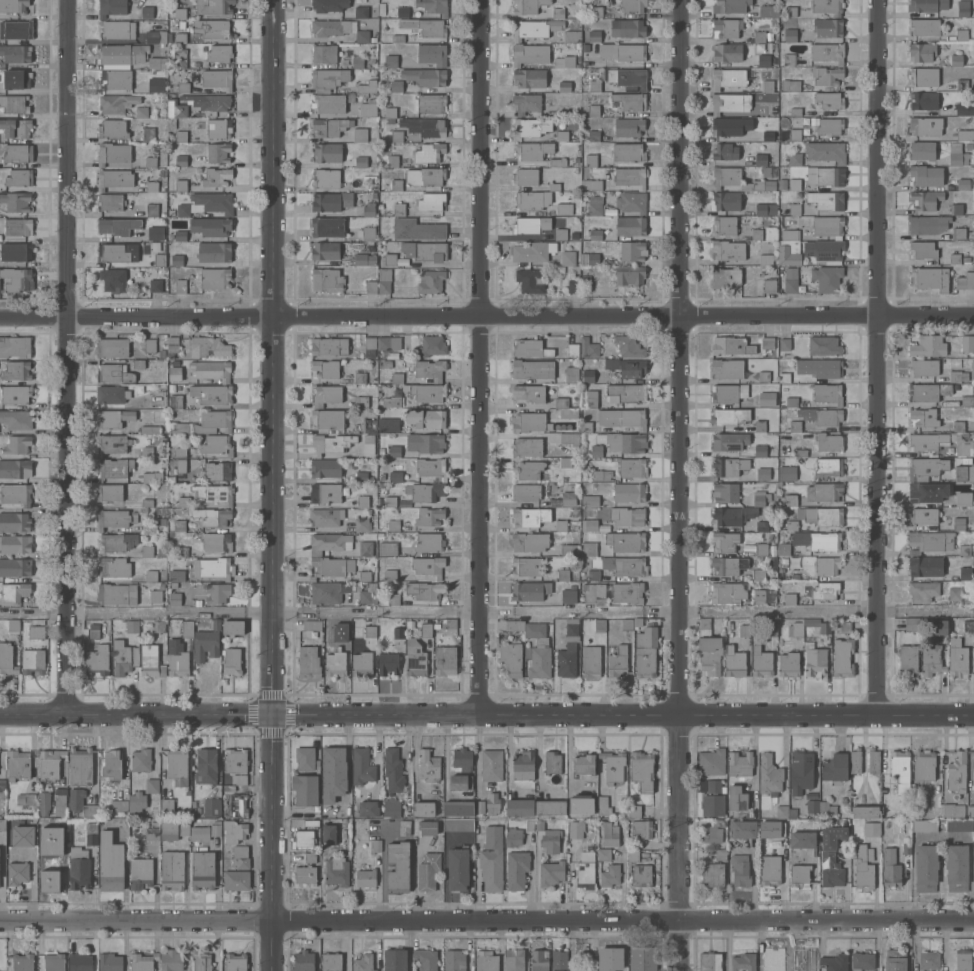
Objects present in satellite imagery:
building: (329, 5)
building: (632, 5)
building: (730, 5)
building: (927, 5)
building: (13, 6)
building: (212, 6)
building: (433, 6)
building: (528, 6)
building: (827, 6)
building: (111, 7)
building: (963, 7)
building: (381, 8)
building: (179, 10)
building: (790, 10)
building: (360, 11)
building: (595, 11)
building: (768, 11)
building: (146, 12)
building: (402, 12)
building: (557, 13)
building: (424, 26)
building: (329, 27)
building: (725, 27)
building: (828, 27)
building: (924, 27)
building: (211, 28)
building: (627, 28)
building: (116, 29)
building: (536, 29)
building: (16, 30)
building: (361, 35)
building: (790, 35)
building: (961, 35)
building: (571, 36)
building: (594, 36)
building: (759, 36)
building: (155, 37)
building: (397, 37)
building: (169, 38)
building: (179, 38)
building: (585, 47)
building: (622, 52)
building: (727, 52)
building: (828, 52)
building: (922, 52)
building: (15, 53)
building: (219, 53)
building: (323, 53)
building: (431, 53)
building: (121, 54)
building: (529, 54)
building: (179, 58)
building: (791, 59)
building: (390, 60)
building: (764, 60)
building: (956, 60)
building: (357, 61)
building: (564, 61)
building: (157, 63)
building: (196, 64)
building: (422, 76)
building: (827, 76)
building: (530, 77)
building: (632, 77)
building: (923, 77)
building: (216, 78)
building: (328, 78)
building: (727, 78)
building: (17, 79)
building: (115, 79)
building: (961, 84)
building: (155, 85)
building: (396, 85)
building: (594, 85)
building: (768, 85)
building: (790, 85)
building: (366, 86)
building: (183, 87)
building: (564, 87)
building: (350, 97)
building: (829, 99)
building: (630, 100)
building: (923, 100)
building: (209, 101)
building: (431, 102)
building: (729, 102)
building: (116, 103)
building: (327, 103)
building: (526, 103)
building: (13, 104)
building: (175, 109)
building: (367, 109)
building: (965, 109)
building: (563, 110)
building: (593, 110)
building: (796, 111)
building: (141, 112)
building: (390, 112)
building: (730, 125)
building: (806, 125)
building: (328, 126)
building: (425, 126)
building: (830, 126)
building: (925, 126)
building: (526, 127)
building: (628, 127)
building: (16, 128)
building: (112, 128)
building: (218, 128)
building: (148, 134)
building: (359, 134)
building: (795, 134)
building: (396, 135)
building: (593, 135)
building: (965, 135)
building: (180, 136)
building: (562, 136)
building: (767, 136)
building: (533, 150)
building: (922, 150)
building: (327, 151)
building: (724, 151)
building: (825, 151)
building: (217, 152)
building: (428, 152)
building: (628, 152)
building: (17, 153)
building: (111, 153)
building: (794, 158)
building: (961, 158)
building: (760, 159)
building: (391, 160)
building: (590, 160)
building: (180, 161)
building: (360, 161)
building: (557, 161)
building: (149, 162)
building: (768, 171)
building: (162, 172)
building: (811, 175)
building: (926, 175)
building: (424, 176)
building: (526, 176)
building: (830, 176)
building: (215, 177)
building: (630, 177)
building: (19, 178)
building: (325, 178)
building: (113, 179)
building: (368, 179)
building: (739, 179)
building: (782, 183)
building: (591, 184)
building: (794, 184)
building: (963, 184)
building: (180, 185)
building: (395, 185)
building: (151, 186)
building: (553, 186)
building: (372, 195)
building: (532, 199)
building: (725, 200)
building: (826, 200)
building: (925, 200)
building: (115, 201)
building: (330, 201)
building: (431, 201)
building: (17, 202)
building: (213, 202)
building: (631, 202)
building: (595, 205)
building: (379, 206)
building: (794, 208)
building: (956, 208)
building: (368, 209)
building: (398, 209)
building: (563, 209)
building: (766, 209)
building: (150, 210)
building: (182, 210)
building: (171, 212)
building: (928, 224)
building: (530, 225)
building: (724, 225)
building: (117, 226)
building: (210, 226)
building: (327, 226)
building: (630, 226)
building: (828, 226)
building: (18, 227)
building: (416, 229)
building: (154, 233)
building: (368, 233)
building: (958, 233)
building: (560, 234)
building: (595, 234)
building: (756, 234)
building: (179, 235)
building: (789, 235)
building: (166, 244)
building: (154, 246)
building: (370, 246)
building: (922, 249)
building: (324, 250)
building: (424, 250)
building: (632, 250)
building: (727, 250)
building: (825, 250)
building: (16, 251)
building: (118, 252)
building: (213, 252)
building: (530, 252)
building: (788, 252)
building: (954, 255)
building: (360, 258)
building: (389, 258)
building: (567, 258)
building: (765, 258)
building: (158, 259)
building: (174, 259)
building: (371, 259)
building: (592, 259)
building: (629, 275)
building: (725, 277)
building: (214, 278)
building: (827, 278)
building: (930, 278)
building: (16, 279)
building: (112, 279)
building: (327, 279)
building: (383, 280)
building: (790, 280)
building: (430, 281)
building: (529, 281)
building: (965, 281)
building: (585, 282)
building: (154, 285)
building: (769, 285)
building: (180, 286)
building: (573, 286)
building: (370, 287)
road: (486, 314)
building: (388, 343)
building: (967, 343)
building: (785, 344)
building: (149, 345)
building: (767, 345)
building: (824, 345)
building: (172, 346)
building: (431, 346)
building: (628, 346)
building: (730, 346)
building: (928, 346)
building: (15, 347)
building: (208, 347)
building: (328, 347)
building: (369, 347)
building: (588, 347)
building: (112, 348)
building: (530, 348)
building: (572, 349)
road: (68, 356)
road: (481, 356)
road: (876, 358)
building: (175, 362)
building: (138, 364)
building: (386, 364)
building: (626, 367)
building: (820, 367)
building: (923, 367)
building: (727, 368)
building: (324, 369)
building: (426, 369)
building: (532, 369)
building: (16, 370)
building: (212, 370)
building: (113, 373)
building: (784, 373)
building: (174, 374)
building: (571, 374)
building: (587, 376)
building: (764, 376)
building: (958, 376)
building: (359, 378)
building: (396, 378)
building: (928, 391)
building: (426, 392)
building: (627, 392)
building: (528, 393)
building: (728, 393)
building: (827, 393)
building: (16, 394)
building: (109, 394)
building: (211, 394)
building: (327, 394)
building: (590, 399)
building: (767, 399)
building: (175, 401)
building: (791, 401)
building: (967, 401)
building: (361, 402)
building: (389, 402)
building: (561, 403)
building: (568, 413)
building: (729, 416)
building: (822, 416)
building: (924, 417)
building: (113, 418)
building: (425, 418)
building: (622, 418)
building: (326, 419)
building: (16, 420)
building: (527, 422)
building: (204, 423)
building: (388, 424)
building: (973, 425)
building: (760, 426)
building: (795, 426)
building: (958, 426)
building: (586, 427)
building: (149, 430)
building: (952, 436)
building: (570, 438)
building: (729, 441)
building: (927, 441)
building: (623, 442)
building: (829, 442)
building: (112, 443)
building: (330, 443)
building: (425, 443)
building: (368, 444)
building: (17, 445)
building: (217, 445)
building: (526, 447)
building: (964, 448)
building: (380, 451)
building: (394, 451)
building: (596, 451)
building: (760, 451)
building: (799, 452)
building: (179, 453)
building: (565, 462)
building: (180, 466)
building: (725, 467)
building: (828, 467)
building: (14, 468)
building: (113, 468)
building: (325, 468)
building: (632, 468)
building: (925, 468)
building: (431, 469)
building: (528, 470)
building: (217, 471)
building: (787, 473)
building: (964, 473)
building: (600, 475)
building: (395, 476)
building: (760, 476)
building: (152, 477)
building: (360, 477)
building: (381, 477)
building: (370, 479)
road: (271, 485)
road: (681, 485)
building: (361, 489)
building: (424, 491)
building: (525, 492)
building: (629, 492)
building: (725, 492)
building: (824, 492)
building: (928, 492)
building: (109, 493)
building: (324, 493)
building: (16, 494)
building: (213, 494)
building: (760, 497)
building: (568, 498)
building: (791, 500)
building: (965, 500)
building: (363, 501)
building: (386, 501)
building: (589, 501)
building: (183, 502)
building: (147, 503)
building: (160, 510)
building: (923, 515)
building: (529, 516)
building: (732, 516)
building: (824, 516)
building: (212, 517)
building: (324, 517)
building: (428, 517)
building: (627, 517)
building: (114, 518)
building: (162, 521)
building: (14, 522)
building: (361, 524)
building: (959, 524)
building: (560, 525)
building: (589, 525)
building: (791, 525)
building: (179, 526)
building: (393, 526)
building: (762, 526)
building: (148, 527)
building: (380, 536)
building: (817, 540)
building: (931, 540)
building: (625, 541)
building: (725, 541)
building: (116, 542)
building: (329, 542)
building: (529, 542)
building: (216, 543)
building: (428, 543)
building: (15, 544)
building: (973, 547)
building: (365, 548)
building: (386, 548)
building: (587, 549)
building: (761, 549)
building: (783, 549)
building: (569, 550)
building: (964, 550)
building: (147, 551)
building: (180, 551)
building: (161, 552)
building: (607, 563)
building: (728, 565)
building: (827, 565)
building: (330, 566)
building: (427, 566)
building: (526, 566)
building: (925, 566)
building: (15, 567)
building: (113, 567)
building: (629, 567)
building: (214, 568)
building: (965, 573)
building: (758, 574)
building: (175, 575)
building: (389, 575)
building: (563, 575)
building: (589, 575)
building: (151, 576)
building: (364, 576)
building: (424, 590)
building: (529, 590)
building: (922, 590)
building: (824, 591)
building: (14, 592)
building: (591, 592)
building: (627, 592)
building: (216, 593)
building: (324, 593)
building: (728, 593)
building: (116, 594)
building: (568, 595)
building: (155, 596)
building: (367, 596)
building: (759, 596)
building: (790, 596)
building: (959, 596)
building: (174, 599)
building: (393, 599)
building: (197, 603)
road: (486, 609)
building: (638, 622)
building: (912, 623)
building: (215, 624)
building: (448, 624)
building: (626, 624)
building: (13, 625)
building: (312, 625)
building: (515, 625)
building: (599, 625)
building: (968, 625)
building: (131, 626)
building: (158, 626)
building: (704, 626)
building: (818, 626)
building: (232, 627)
building: (844, 627)
building: (941, 627)
building: (186, 629)
building: (770, 629)
building: (795, 629)
building: (425, 630)
building: (535, 630)
building: (744, 630)
building: (344, 631)
building: (369, 631)
building: (37, 632)
building: (92, 633)
building: (398, 633)
building: (328, 644)
building: (205, 645)
building: (567, 651)
building: (645, 652)
building: (709, 655)
building: (842, 657)
building: (415, 658)
building: (908, 658)
building: (958, 658)
building: (6, 659)
building: (511, 659)
building: (539, 659)
building: (97, 660)
building: (124, 660)
building: (444, 660)
building: (761, 660)
building: (931, 660)
building: (33, 661)
building: (232, 661)
building: (617, 661)
building: (150, 662)
building: (308, 662)
building: (590, 662)
building: (734, 662)
building: (815, 662)
building: (335, 663)
building: (387, 663)
building: (178, 664)
building: (361, 664)
building: (788, 664)
building: (973, 669)
traffic signals: (270, 714)
road: (487, 714)
building: (304, 758)
building: (463, 759)
road: (538, 759)
building: (141, 760)
building: (236, 761)
building: (855, 761)
building: (873, 761)
building: (552, 762)
building: (712, 762)
building: (19, 764)
building: (50, 764)
building: (583, 764)
building: (740, 764)
building: (112, 765)
building: (491, 765)
building: (523, 765)
building: (924, 765)
building: (206, 766)
building: (362, 766)
building: (429, 766)
building: (80, 767)
building: (178, 767)
building: (613, 767)
building: (835, 768)
building: (393, 770)
building: (901, 770)
building: (642, 771)
building: (801, 772)
building: (957, 772)
building: (333, 773)
building: (769, 776)
building: (973, 777)
building: (239, 780)
building: (461, 783)
building: (152, 786)
building: (715, 786)
building: (228, 788)
building: (2, 789)
building: (305, 790)
building: (737, 798)
building: (26, 799)
building: (936, 801)
building: (137, 802)
building: (43, 803)
building: (59, 803)
building: (81, 803)
building: (492, 804)
building: (239, 805)
building: (713, 805)
building: (119, 806)
building: (581, 806)
building: (603, 806)
building: (812, 806)
building: (167, 807)
building: (211, 807)
building: (480, 807)
building: (519, 807)
building: (368, 808)
building: (392, 808)
building: (458, 808)
building: (551, 808)
building: (423, 809)
building: (826, 809)
building: (953, 810)
building: (971, 811)
building: (634, 812)
building: (782, 812)
building: (865, 812)
building: (767, 813)
building: (792, 813)
building: (311, 823)
building: (3, 824)
building: (458, 824)
building: (530, 825)
building: (539, 825)
building: (925, 825)
building: (958, 825)
building: (404, 827)
building: (427, 828)
building: (216, 829)
building: (641, 829)
building: (743, 829)
building: (169, 830)
building: (184, 830)
building: (576, 830)
building: (871, 830)
building: (234, 831)
building: (714, 831)
building: (328, 833)
building: (91, 834)
building: (152, 834)
building: (199, 834)
building: (781, 834)
building: (610, 835)
building: (24, 836)
building: (61, 836)
building: (832, 836)
building: (513, 837)
building: (304, 839)
building: (802, 840)
building: (551, 841)
building: (907, 845)
building: (377, 846)
building: (636, 847)
building: (603, 854)
building: (720, 854)
building: (633, 855)
building: (241, 857)
building: (310, 857)
building: (492, 859)
building: (111, 863)
building: (397, 866)
building: (863, 866)
building: (957, 867)
building: (48, 868)
building: (79, 868)
building: (457, 868)
building: (891, 868)
building: (927, 868)
building: (516, 869)
building: (585, 869)
building: (172, 870)
building: (203, 870)
building: (740, 870)
building: (770, 870)
building: (830, 870)
building: (337, 871)
building: (17, 873)
building: (141, 873)
building: (551, 873)
building: (426, 875)
building: (609, 875)
building: (713, 875)
building: (799, 875)
building: (305, 876)
building: (641, 876)
building: (366, 878)
building: (236, 880)
building: (973, 881)
road: (487, 923)
building: (425, 959)
building: (609, 959)
building: (394, 960)
building: (454, 960)
building: (485, 960)
building: (514, 960)
building: (539, 960)
building: (896, 960)
building: (930, 960)
building: (963, 960)
building: (170, 961)
building: (303, 961)
building: (558, 961)
building: (806, 961)
building: (862, 961)
building: (23, 962)
building: (53, 962)
building: (80, 962)
building: (110, 962)
building: (142, 962)
building: (201, 962)
building: (234, 962)
building: (331, 962)
building: (640, 962)
building: (710, 962)
building: (743, 962)
building: (363, 963)
building: (771, 963)
building: (834, 963)
building: (973, 967)

